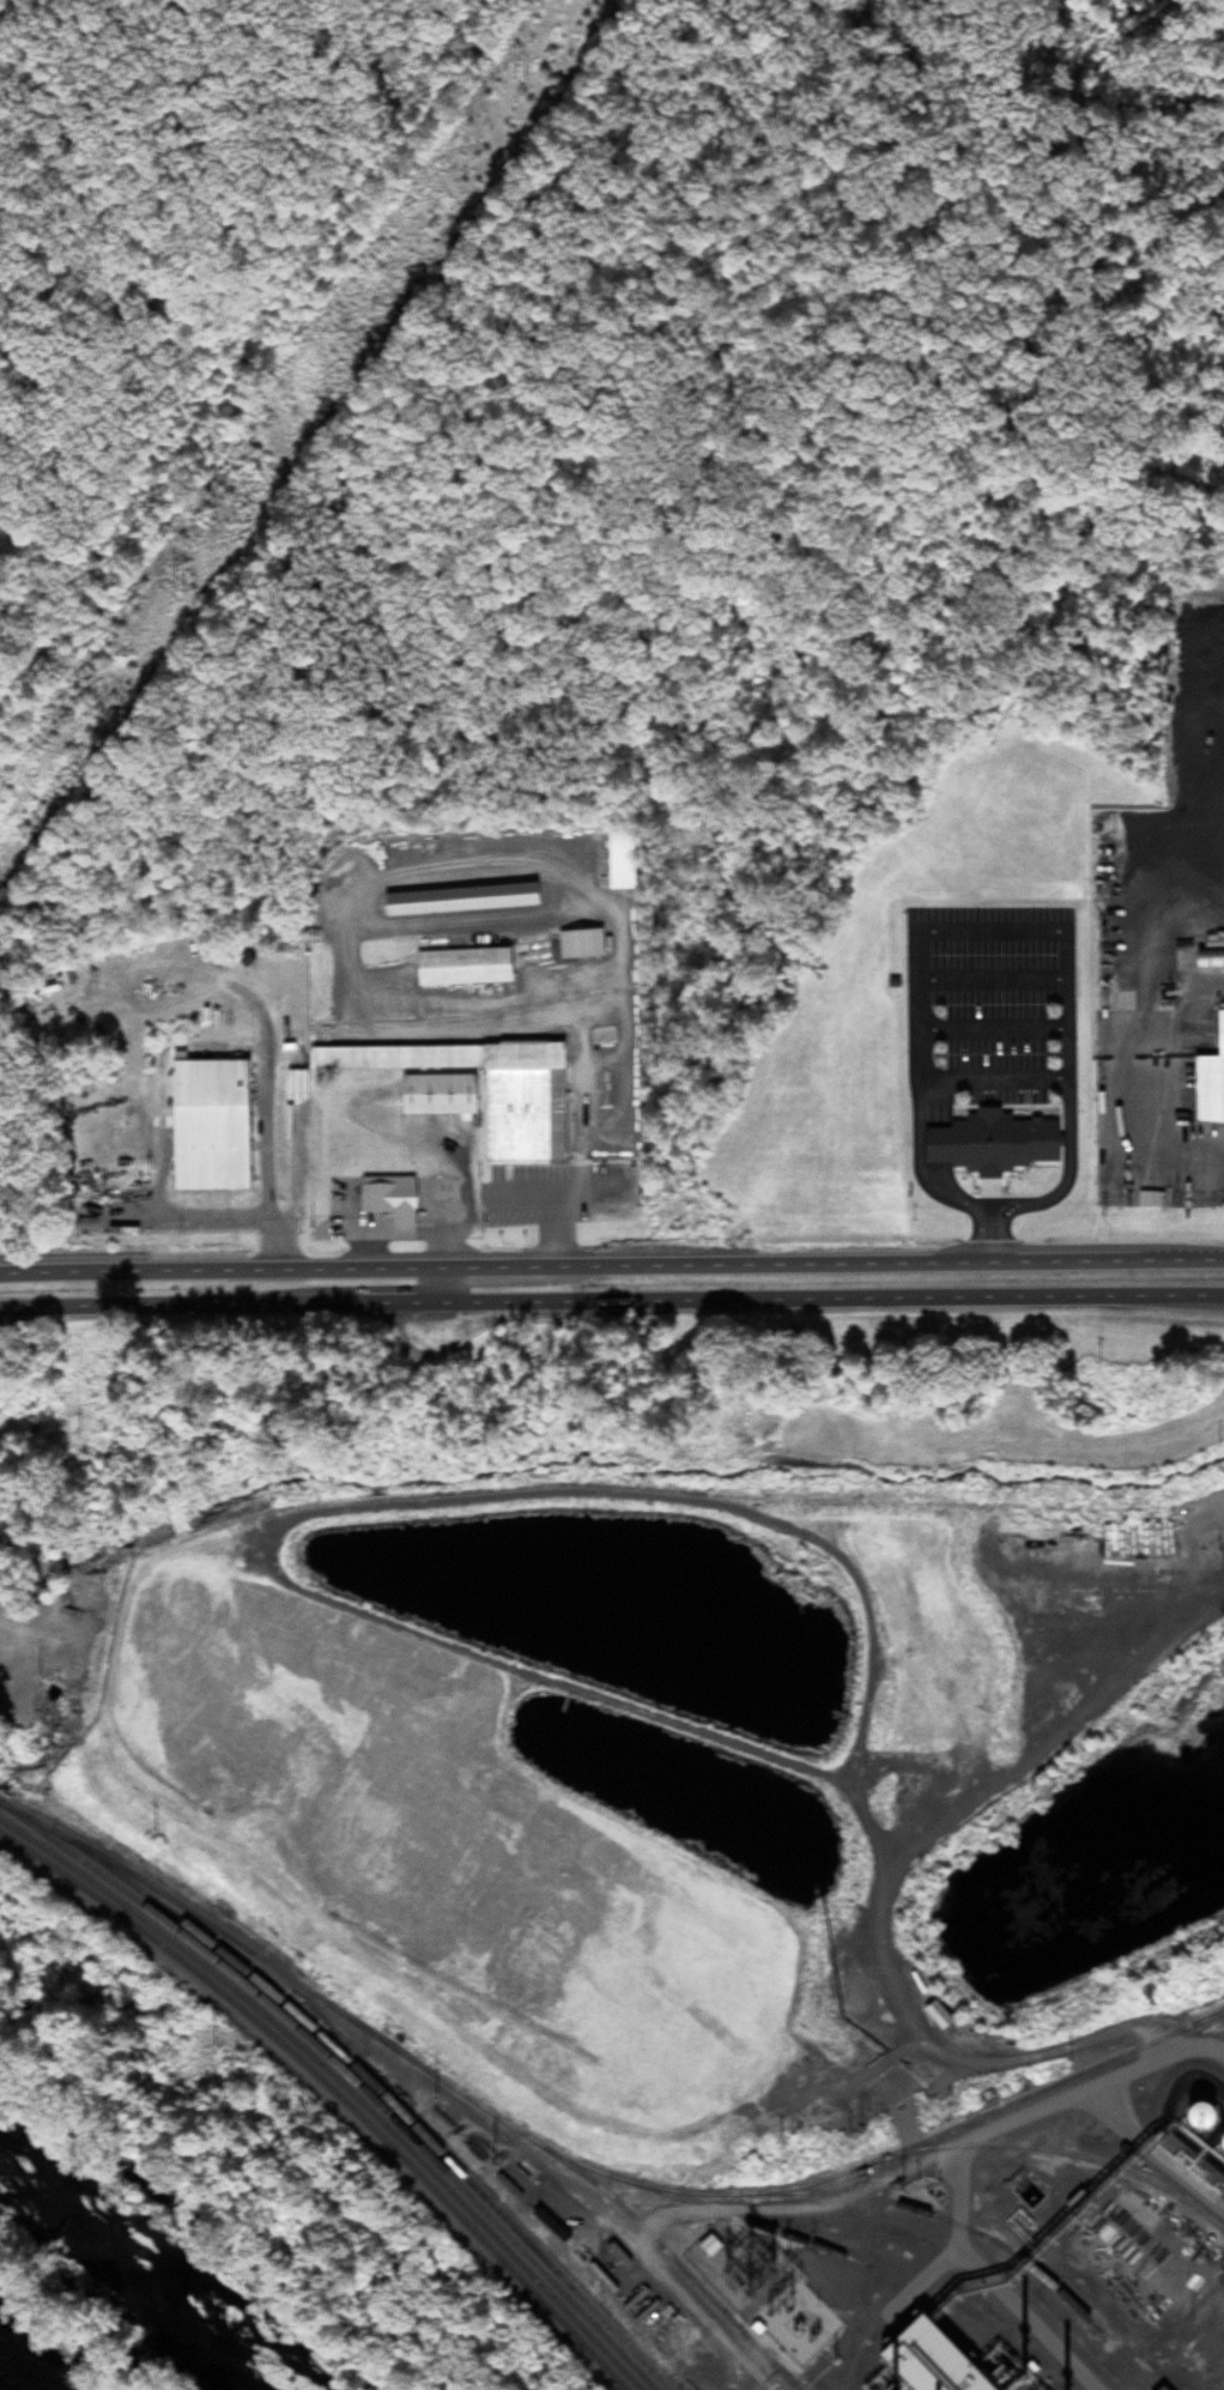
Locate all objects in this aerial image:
power tower: (177, 585)
building: (617, 860)
building: (454, 900)
building: (575, 943)
building: (456, 967)
building: (1207, 1081)
building: (467, 1089)
building: (211, 1124)
building: (988, 1143)
road: (576, 1149)
building: (384, 1199)
road: (611, 1265)
road: (443, 1283)
road: (611, 1300)
building: (1168, 1549)
building: (1150, 1567)
building: (958, 1755)
railway: (1213, 2014)
building: (932, 2015)
road: (1204, 2051)
railway: (420, 2067)
railway: (1053, 2082)
railway: (351, 2089)
railway: (999, 2146)
railway: (877, 2201)
building: (707, 2244)
building: (909, 2251)
power substation: (759, 2287)

